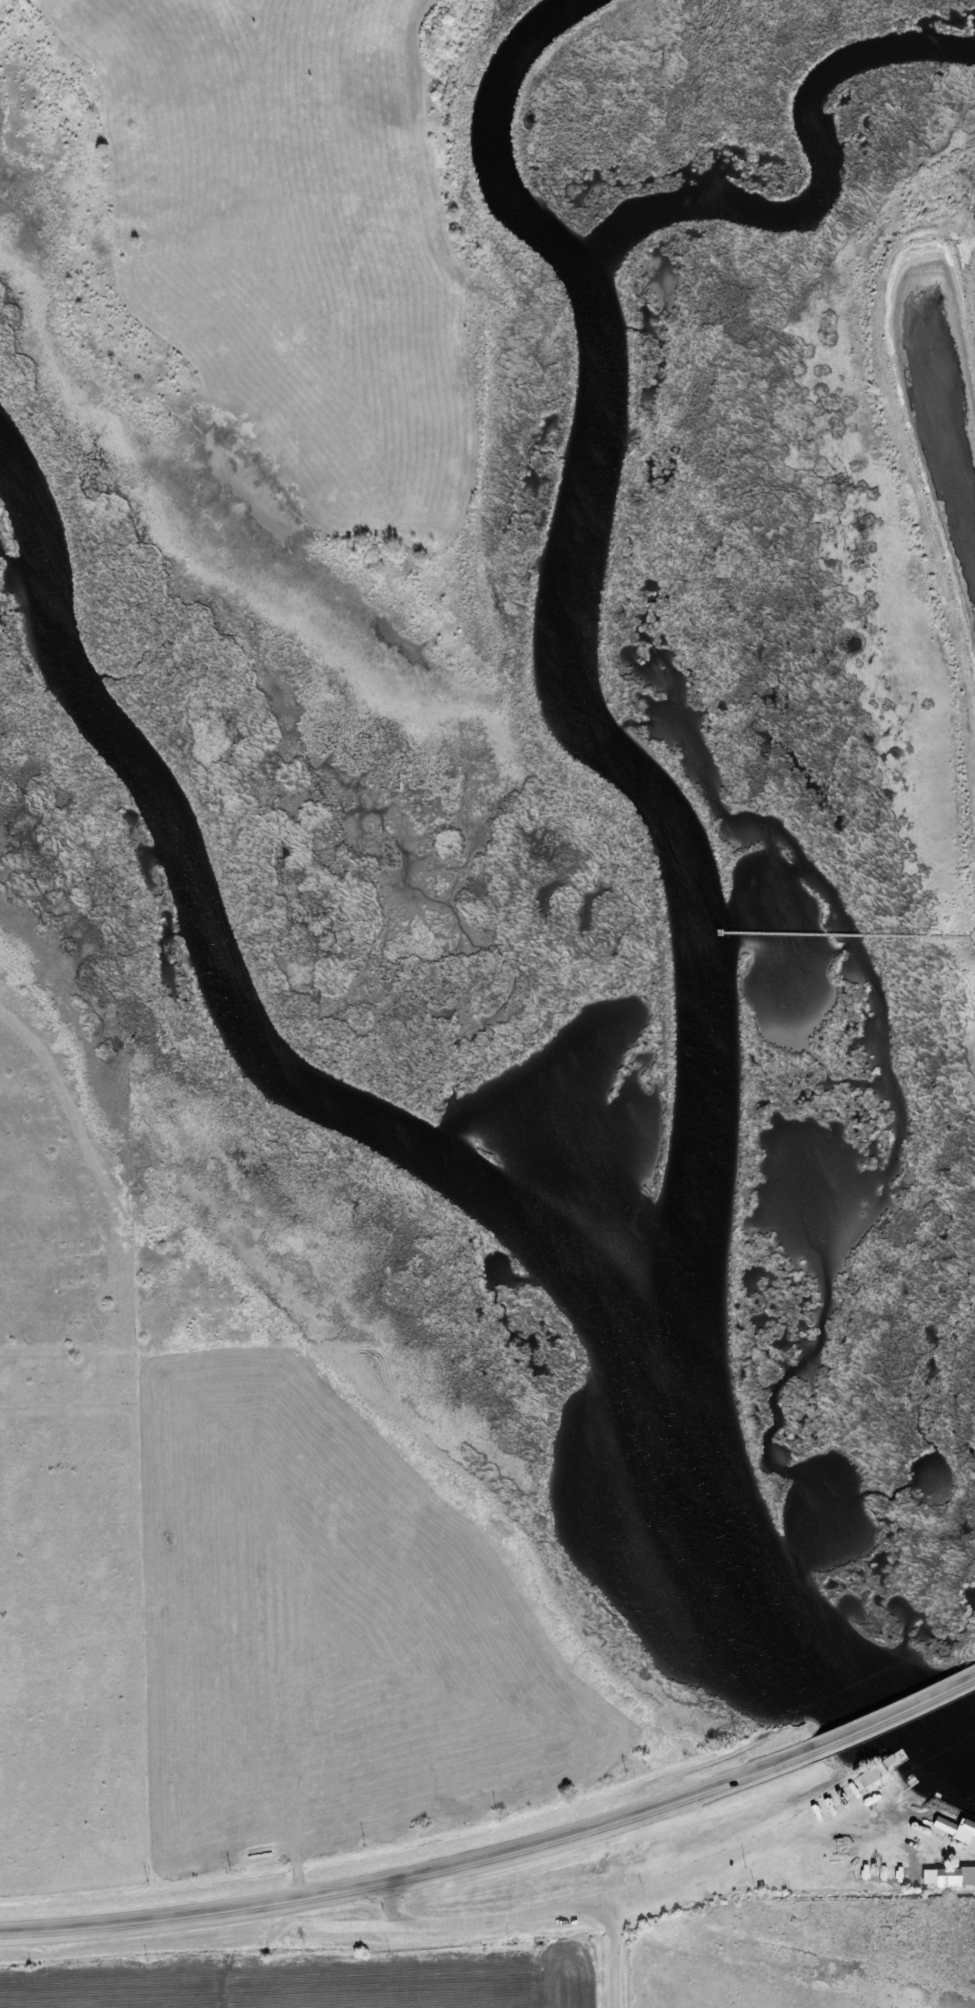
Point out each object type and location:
road: (895, 1715)
building: (883, 1769)
building: (957, 1830)
road: (415, 1877)
building: (950, 1878)
road: (620, 1896)
road: (612, 1953)

